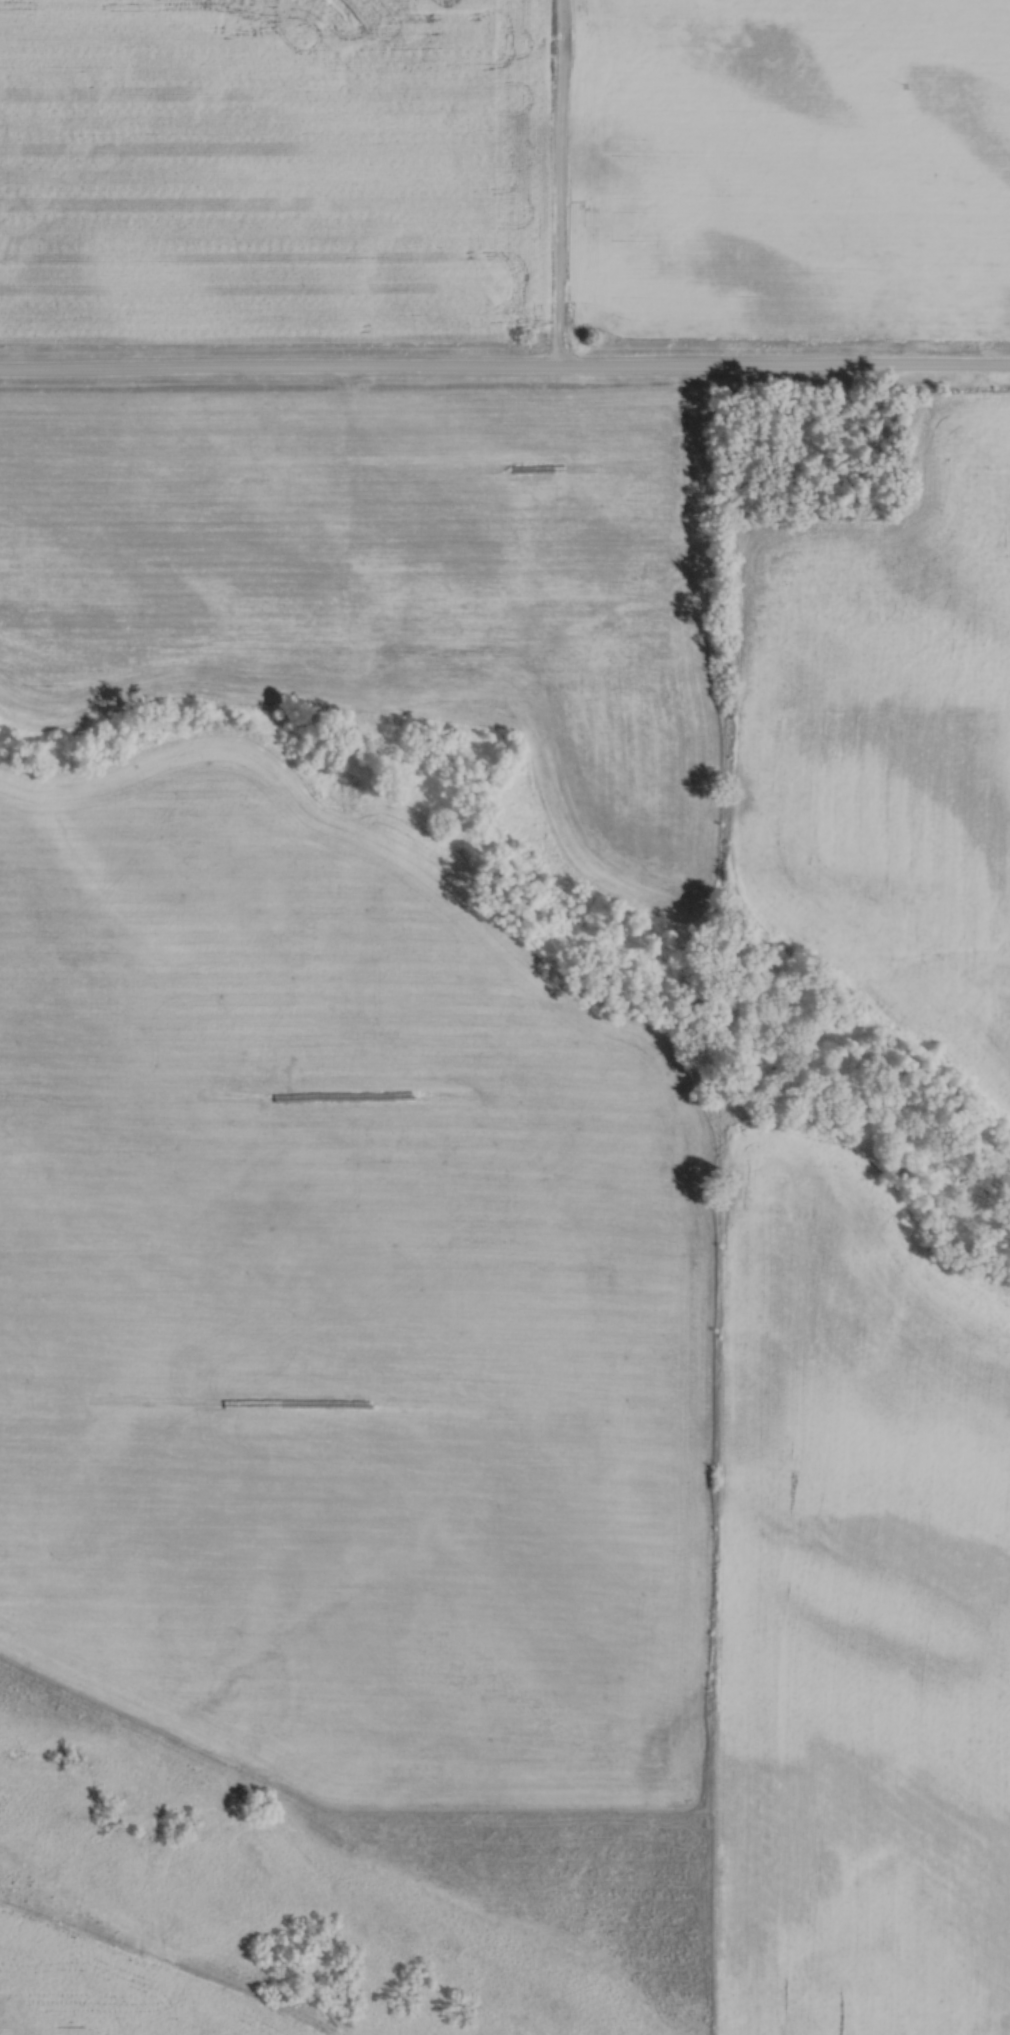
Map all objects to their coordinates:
road: (560, 185)
road: (504, 370)

